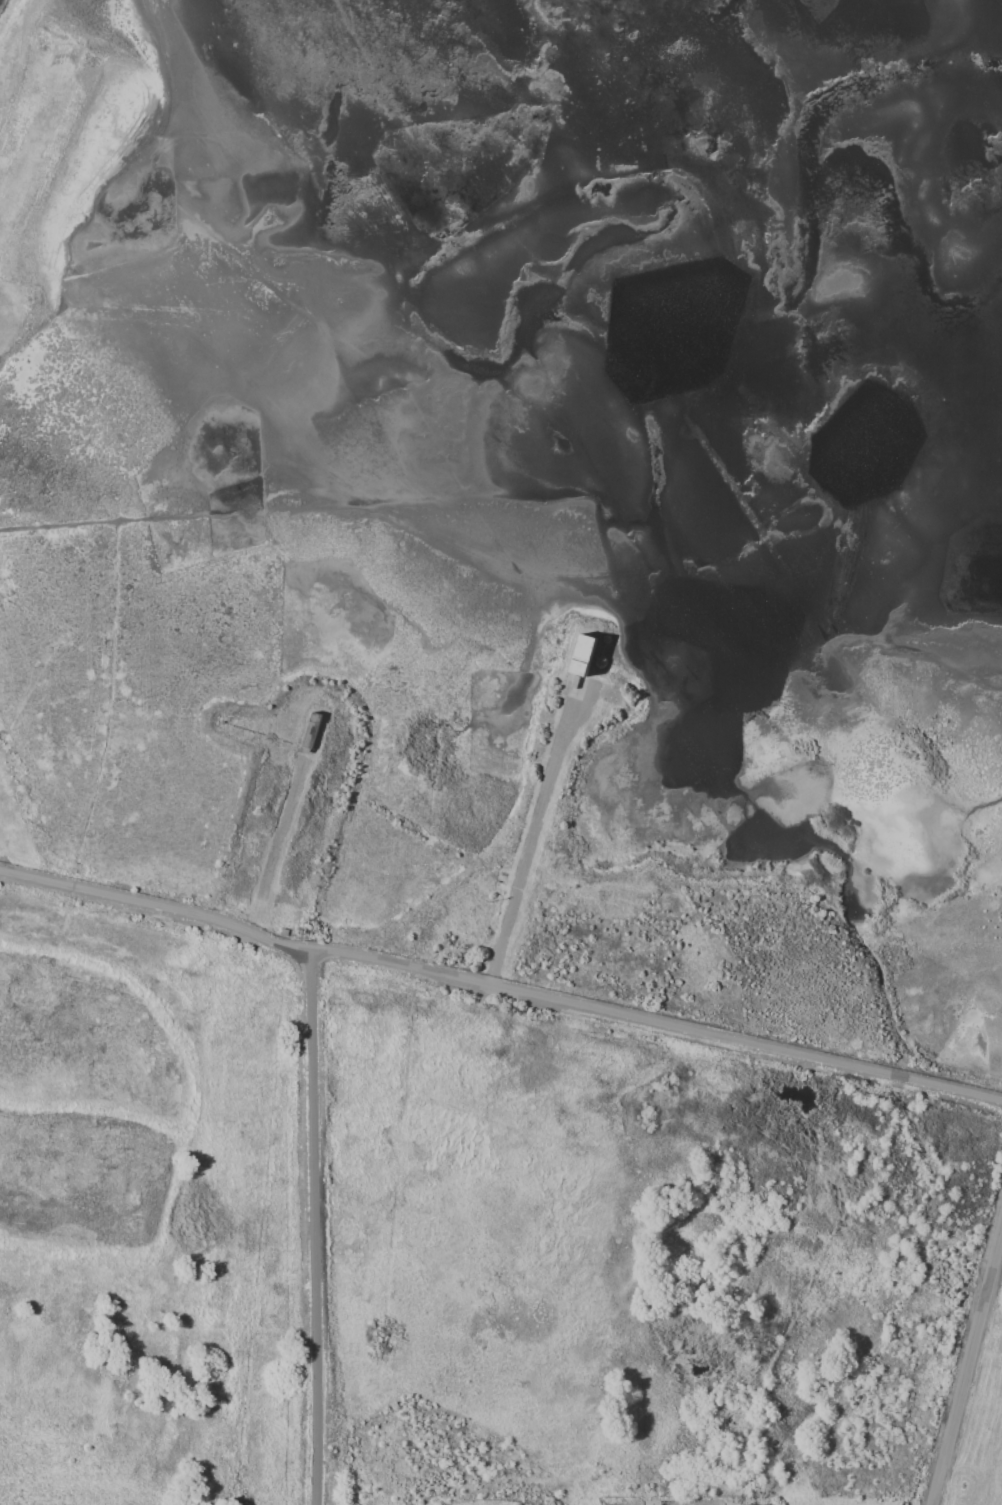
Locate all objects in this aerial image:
building: (583, 655)
building: (311, 730)
road: (533, 828)
road: (278, 841)
building: (284, 932)
road: (499, 988)
road: (313, 1227)
road: (966, 1368)

